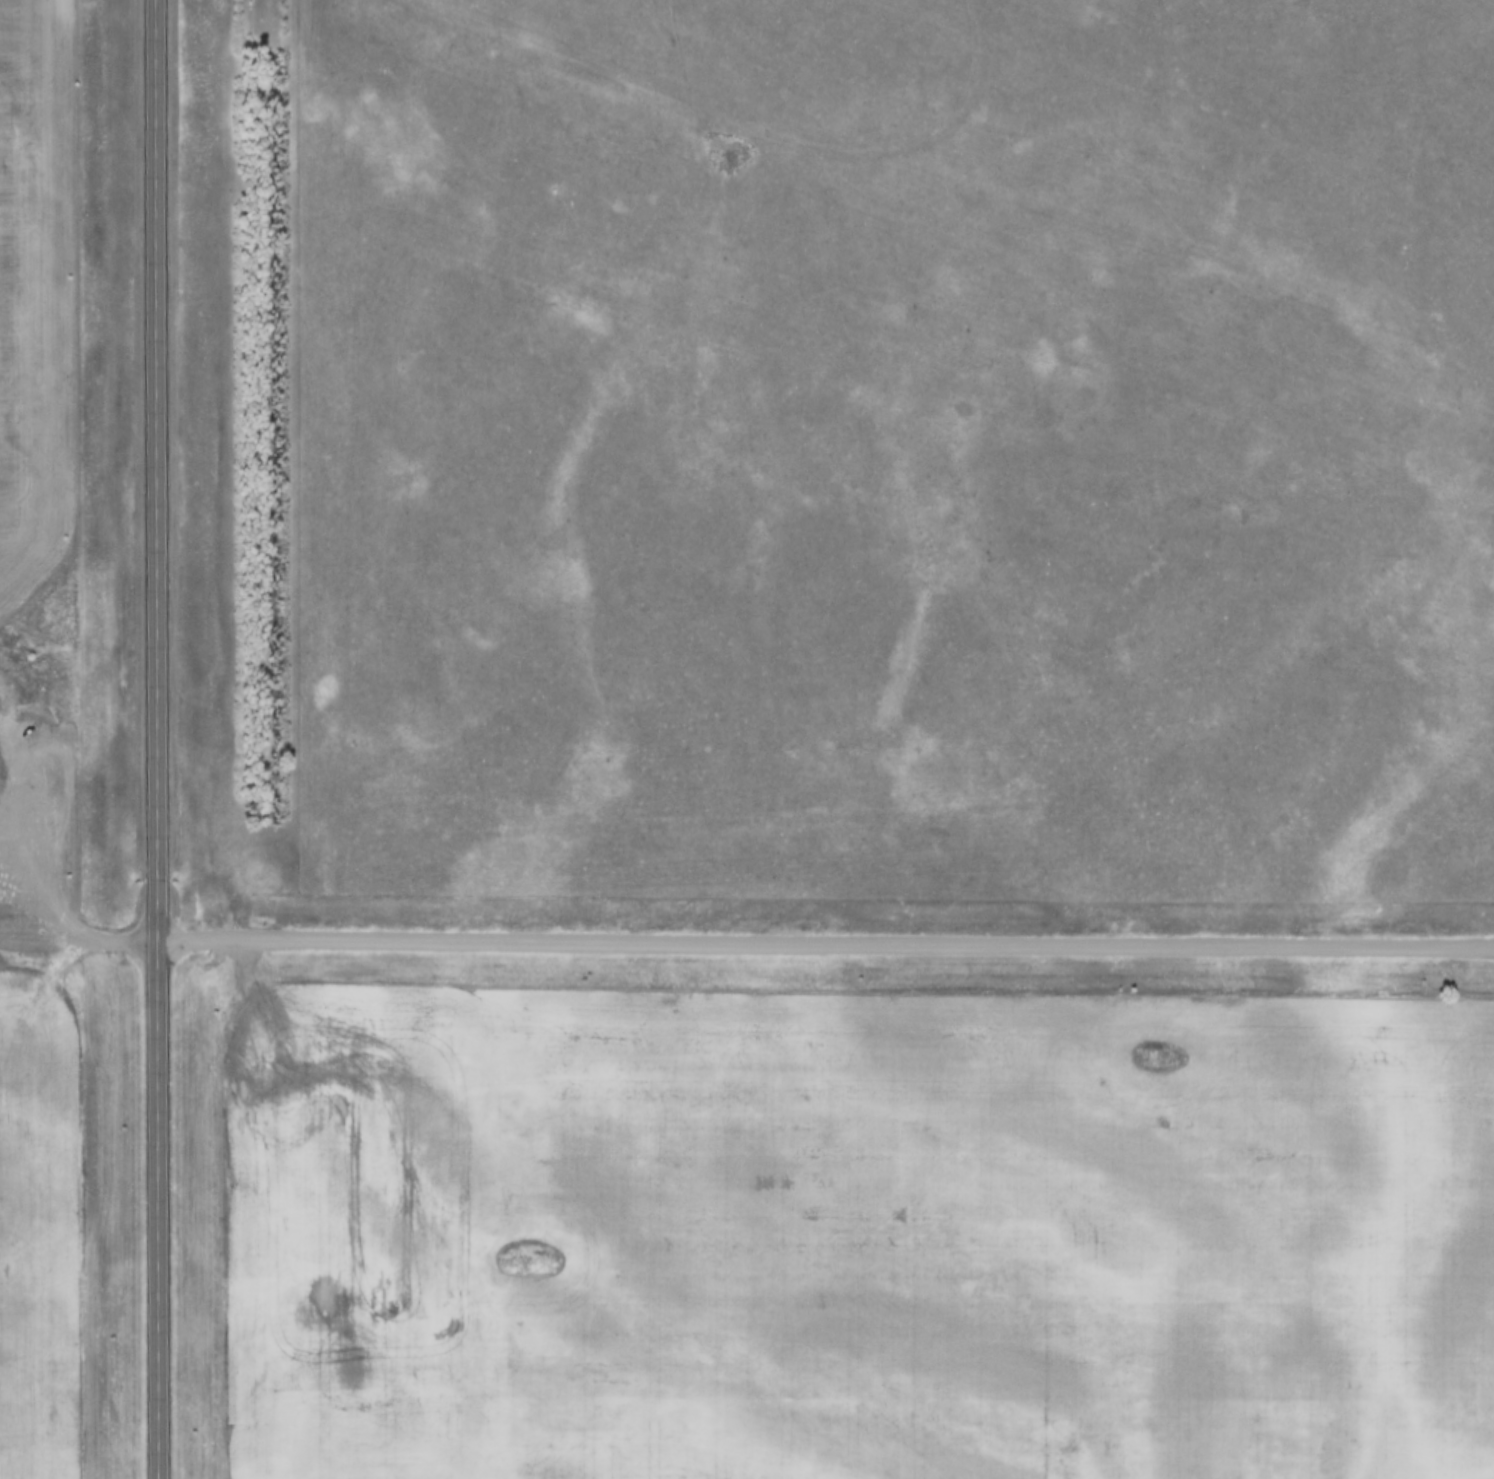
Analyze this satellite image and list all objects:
road: (158, 739)
road: (827, 945)

